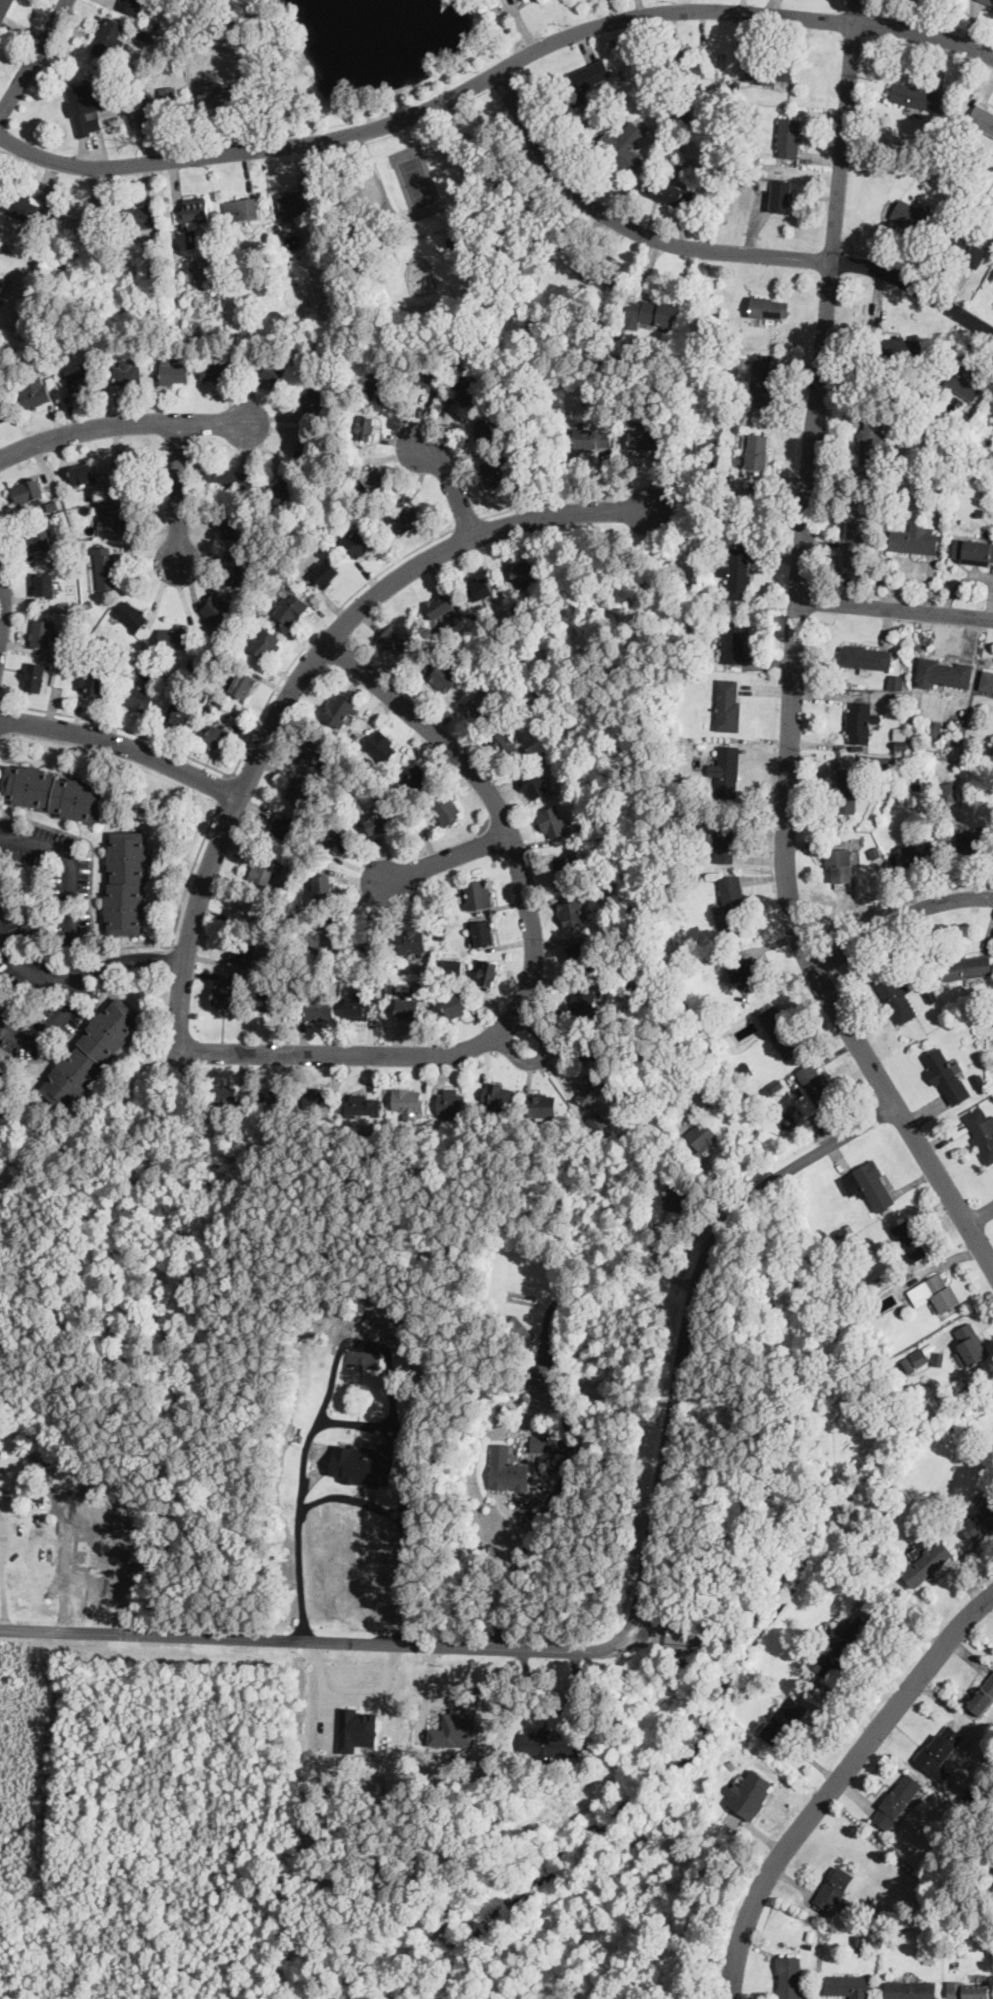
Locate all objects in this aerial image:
building: (499, 0)
building: (988, 1)
building: (130, 5)
building: (4, 7)
building: (108, 37)
road: (34, 58)
road: (493, 71)
building: (768, 71)
building: (582, 80)
building: (215, 93)
building: (916, 95)
building: (161, 103)
building: (84, 107)
building: (982, 117)
building: (788, 136)
building: (623, 145)
park: (418, 181)
building: (672, 191)
building: (781, 195)
building: (294, 202)
building: (19, 204)
building: (241, 208)
building: (192, 212)
building: (77, 217)
building: (141, 217)
building: (914, 217)
park: (447, 226)
building: (454, 240)
road: (713, 249)
building: (965, 250)
building: (599, 276)
building: (2, 279)
building: (768, 307)
building: (650, 312)
building: (900, 347)
building: (215, 367)
building: (127, 370)
building: (174, 370)
building: (276, 372)
building: (430, 375)
building: (964, 377)
building: (83, 379)
building: (760, 382)
building: (380, 387)
building: (467, 390)
building: (36, 395)
building: (315, 403)
building: (991, 406)
building: (1, 414)
building: (992, 414)
road: (121, 422)
building: (366, 426)
building: (485, 430)
building: (592, 436)
building: (645, 438)
building: (871, 443)
building: (306, 446)
building: (755, 450)
building: (494, 471)
building: (83, 475)
building: (230, 479)
building: (374, 483)
road: (452, 483)
building: (27, 490)
building: (284, 490)
road: (177, 494)
road: (553, 498)
building: (114, 518)
building: (405, 521)
road: (468, 522)
building: (231, 527)
building: (856, 534)
building: (40, 538)
building: (914, 540)
building: (358, 542)
building: (974, 551)
building: (105, 565)
building: (238, 567)
building: (524, 572)
building: (736, 572)
building: (324, 573)
building: (46, 583)
building: (484, 587)
road: (1, 594)
building: (216, 605)
building: (292, 605)
building: (439, 605)
road: (895, 608)
building: (133, 615)
building: (43, 633)
building: (175, 636)
building: (396, 639)
building: (734, 642)
building: (264, 643)
building: (865, 657)
road: (794, 659)
road: (304, 671)
building: (942, 672)
building: (445, 676)
building: (36, 677)
building: (986, 680)
building: (893, 681)
building: (93, 682)
building: (244, 682)
building: (139, 697)
road: (1, 700)
building: (728, 704)
building: (482, 705)
building: (340, 709)
building: (179, 713)
building: (859, 721)
road: (251, 732)
building: (900, 732)
building: (219, 734)
building: (506, 742)
road: (124, 744)
building: (383, 744)
building: (317, 752)
building: (727, 770)
building: (417, 774)
building: (539, 783)
road: (225, 788)
building: (846, 790)
building: (946, 791)
building: (54, 792)
building: (302, 793)
building: (448, 808)
building: (553, 820)
building: (380, 821)
building: (283, 829)
building: (341, 839)
building: (975, 839)
building: (724, 843)
building: (916, 851)
road: (443, 859)
building: (837, 867)
building: (565, 869)
building: (265, 871)
road: (189, 874)
building: (125, 882)
road: (90, 885)
building: (322, 885)
building: (481, 892)
building: (732, 901)
building: (247, 903)
building: (572, 912)
road: (898, 916)
building: (484, 930)
building: (326, 937)
road: (74, 938)
building: (368, 943)
building: (412, 944)
building: (237, 950)
building: (578, 953)
road: (131, 958)
road: (532, 963)
building: (452, 966)
building: (967, 967)
road: (29, 970)
building: (488, 971)
building: (747, 973)
building: (896, 996)
building: (225, 997)
building: (361, 999)
building: (592, 999)
building: (269, 1001)
building: (455, 1004)
building: (408, 1005)
building: (278, 1009)
building: (317, 1011)
building: (779, 1031)
building: (92, 1053)
building: (597, 1053)
road: (542, 1055)
building: (947, 1074)
building: (6, 1078)
building: (589, 1089)
building: (813, 1089)
building: (222, 1093)
building: (272, 1095)
building: (320, 1096)
building: (496, 1096)
building: (408, 1099)
building: (362, 1102)
building: (450, 1102)
building: (541, 1107)
building: (599, 1121)
building: (982, 1131)
building: (702, 1136)
building: (868, 1185)
building: (677, 1195)
road: (980, 1215)
building: (908, 1240)
building: (935, 1292)
road: (366, 1343)
building: (969, 1344)
building: (917, 1356)
building: (363, 1358)
building: (543, 1364)
road: (357, 1423)
building: (539, 1442)
building: (362, 1465)
building: (506, 1469)
road: (349, 1496)
road: (539, 1521)
building: (978, 1521)
building: (927, 1562)
road: (2, 1579)
road: (902, 1616)
road: (626, 1634)
building: (838, 1646)
road: (355, 1690)
building: (981, 1696)
building: (783, 1717)
building: (356, 1729)
building: (454, 1729)
building: (549, 1742)
building: (938, 1751)
road: (835, 1780)
building: (750, 1793)
building: (897, 1800)
building: (833, 1887)
building: (791, 1977)
building: (848, 1985)
building: (910, 1989)
building: (969, 1989)

